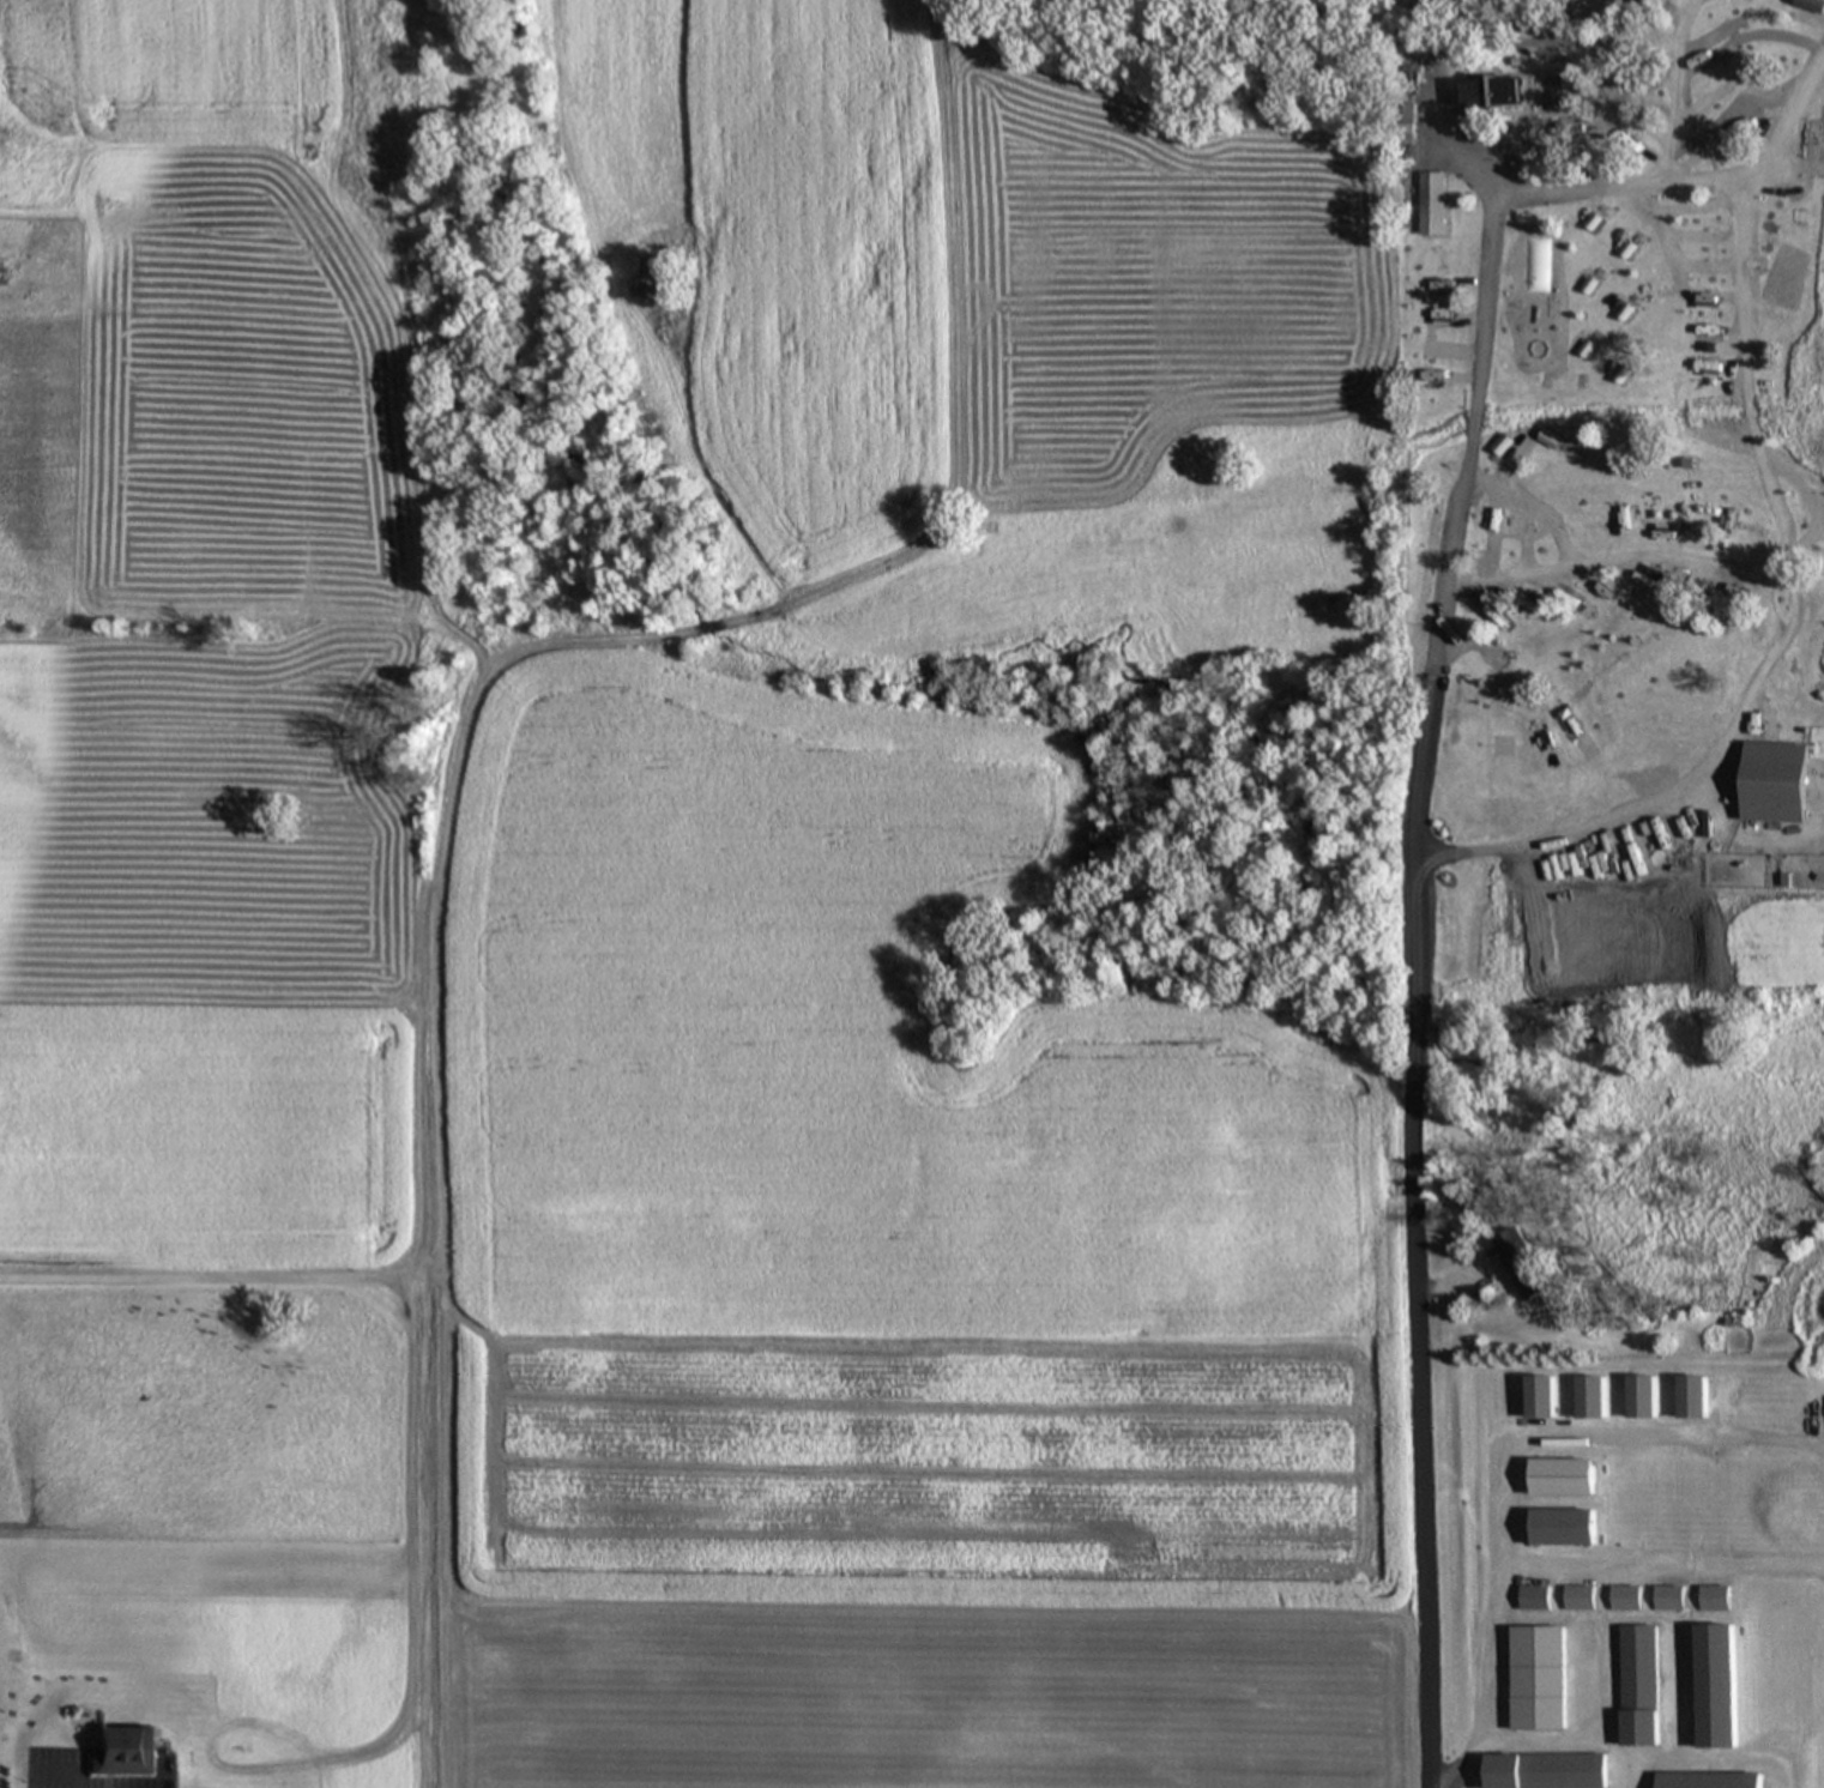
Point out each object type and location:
building: (1493, 96)
road: (1431, 115)
road: (1663, 165)
road: (1780, 167)
building: (1432, 206)
road: (1654, 223)
road: (1744, 385)
building: (1551, 442)
building: (1503, 447)
road: (1458, 526)
road: (1683, 556)
building: (1770, 784)
road: (1569, 827)
building: (1524, 1267)
road: (1419, 1321)
building: (1643, 1399)
building: (1542, 1400)
building: (1593, 1400)
building: (1693, 1400)
road: (1502, 1457)
building: (1563, 1479)
building: (1564, 1529)
building: (1533, 1600)
building: (1577, 1600)
building: (1714, 1600)
building: (1624, 1601)
building: (1668, 1601)
building: (1538, 1680)
building: (1638, 1687)
building: (1716, 1687)
building: (121, 1754)
building: (1545, 1772)
road: (1442, 1781)
building: (1709, 1781)
road: (1463, 1783)

